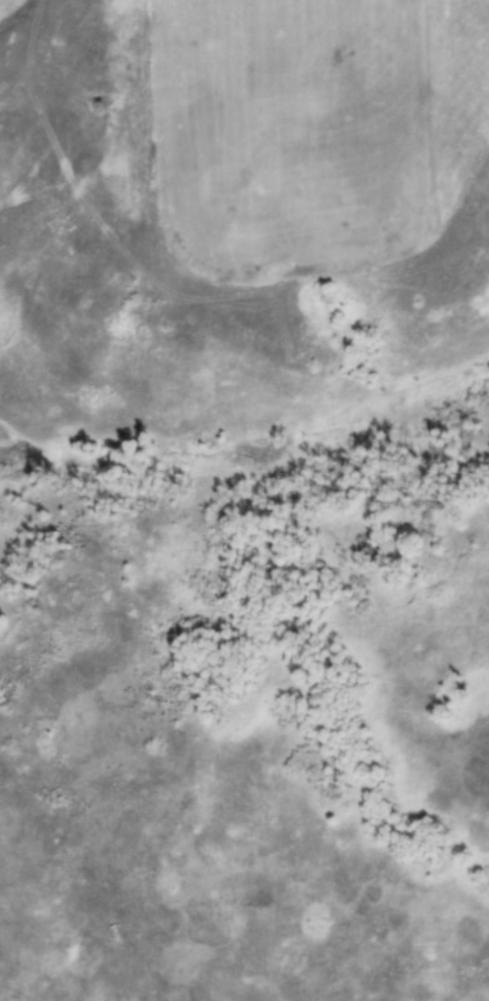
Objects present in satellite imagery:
road: (13, 11)
building: (95, 103)
road: (48, 128)

